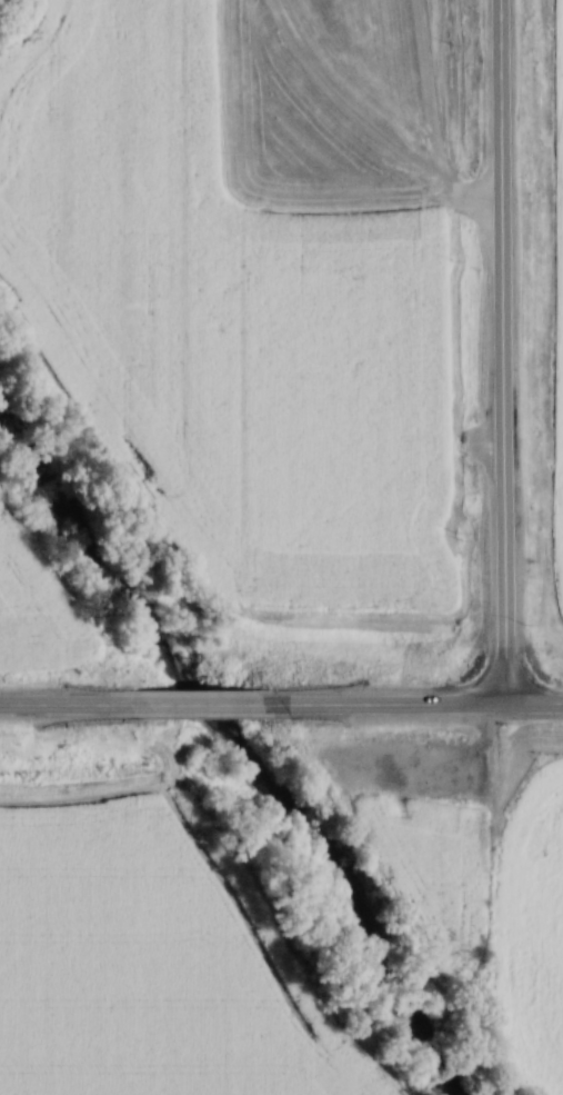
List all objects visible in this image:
road: (404, 157)
road: (464, 198)
road: (503, 352)
road: (190, 703)
road: (57, 704)
road: (414, 704)
river: (248, 747)

